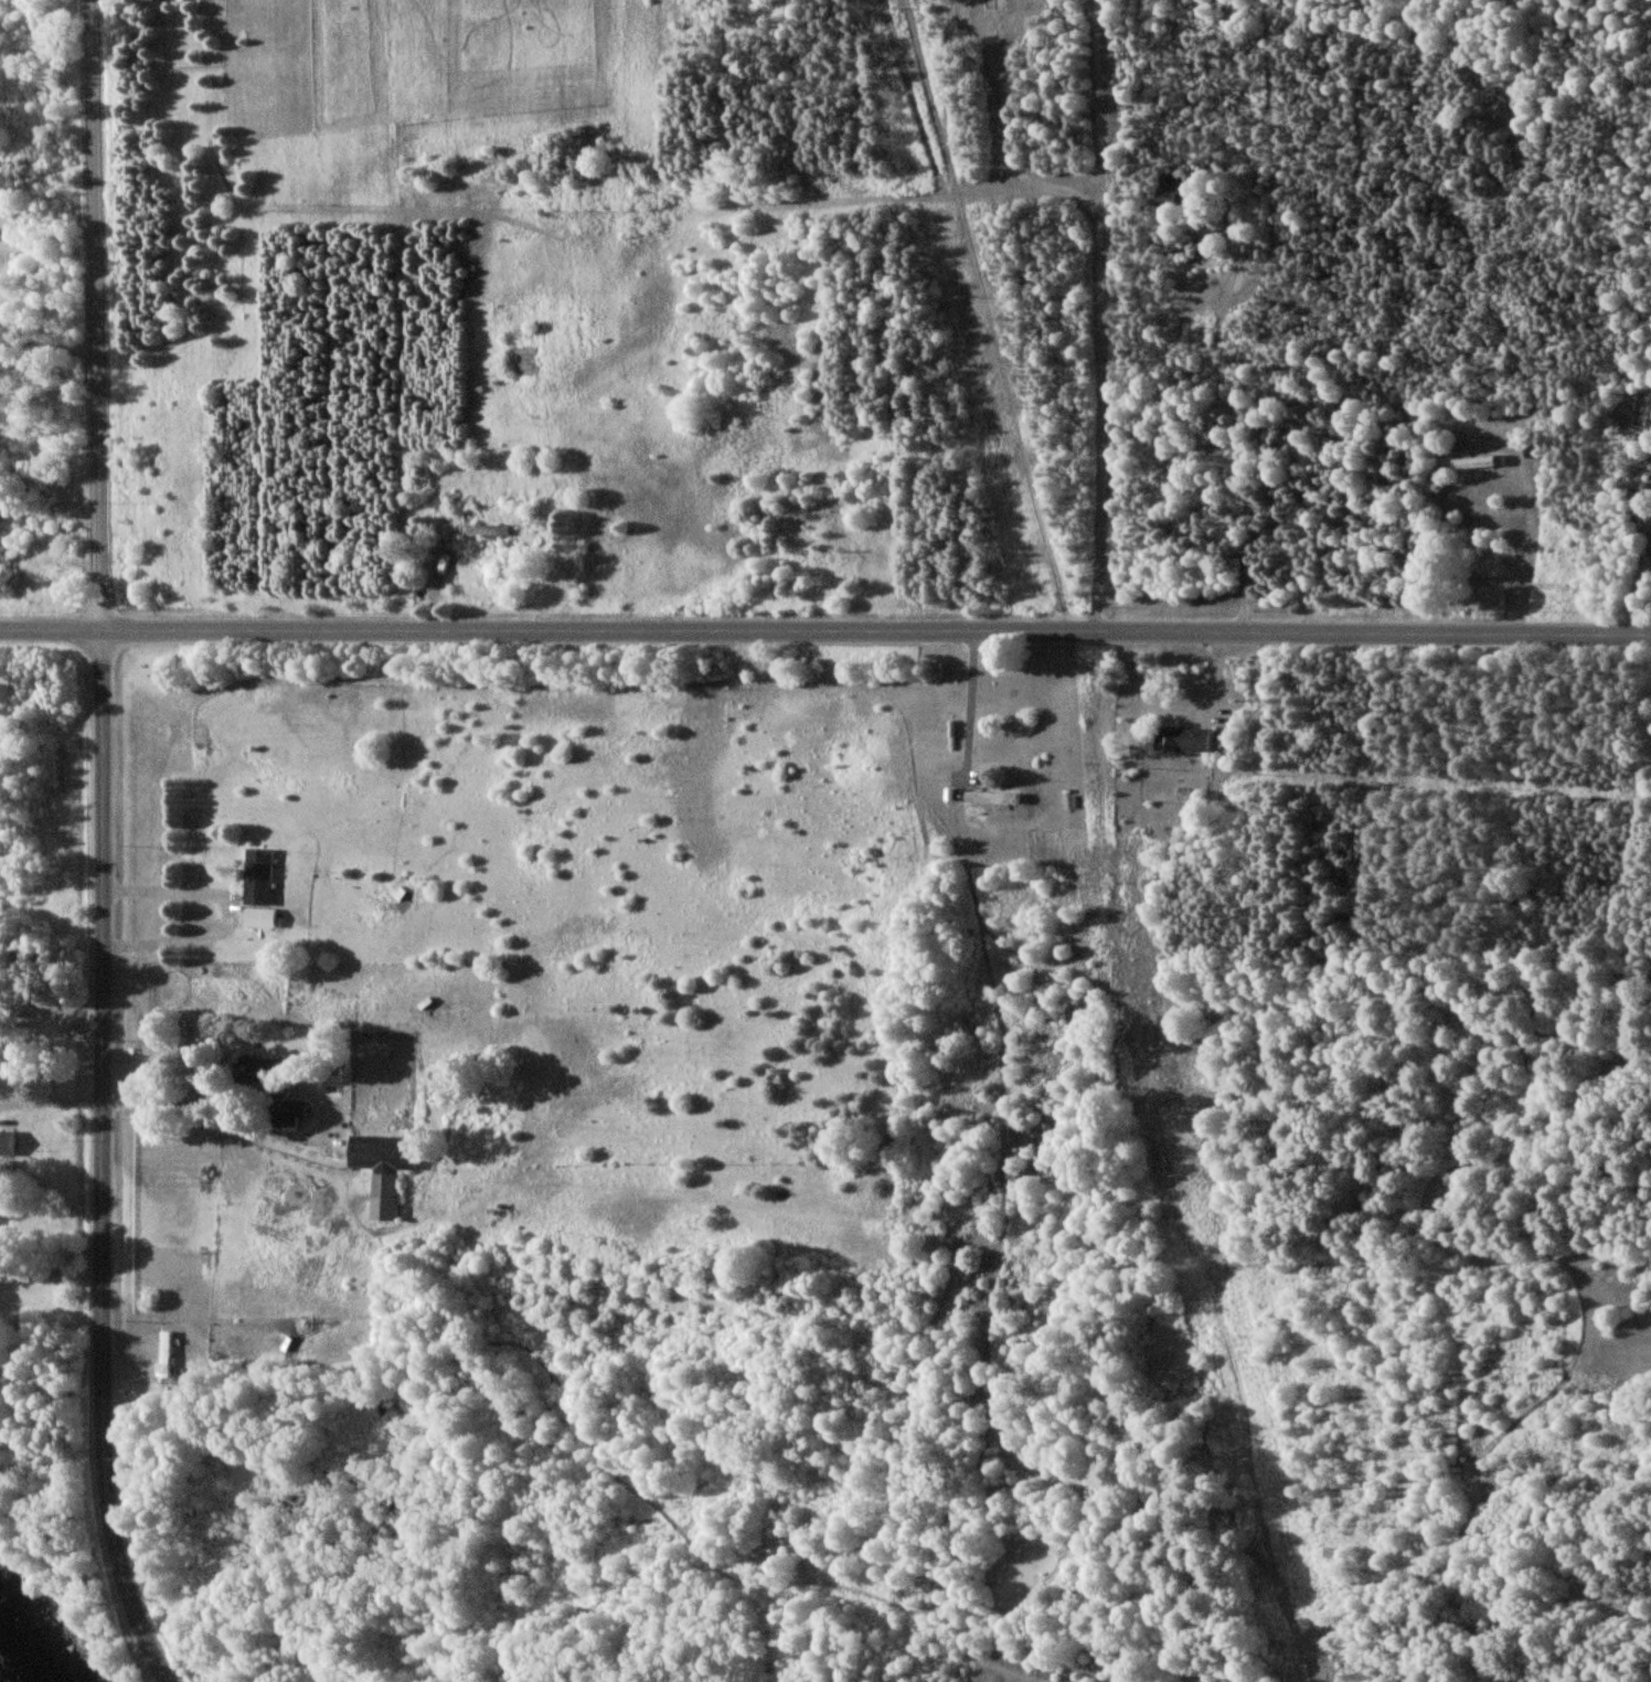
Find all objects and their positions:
building: (994, 4)
building: (1167, 191)
building: (1203, 248)
road: (44, 339)
building: (1649, 416)
building: (1472, 462)
building: (483, 530)
road: (825, 632)
road: (974, 701)
building: (1181, 738)
building: (991, 797)
road: (99, 847)
building: (258, 877)
road: (234, 908)
building: (259, 917)
road: (49, 1002)
building: (257, 1068)
building: (287, 1111)
building: (7, 1142)
building: (381, 1168)
road: (49, 1170)
building: (164, 1354)

